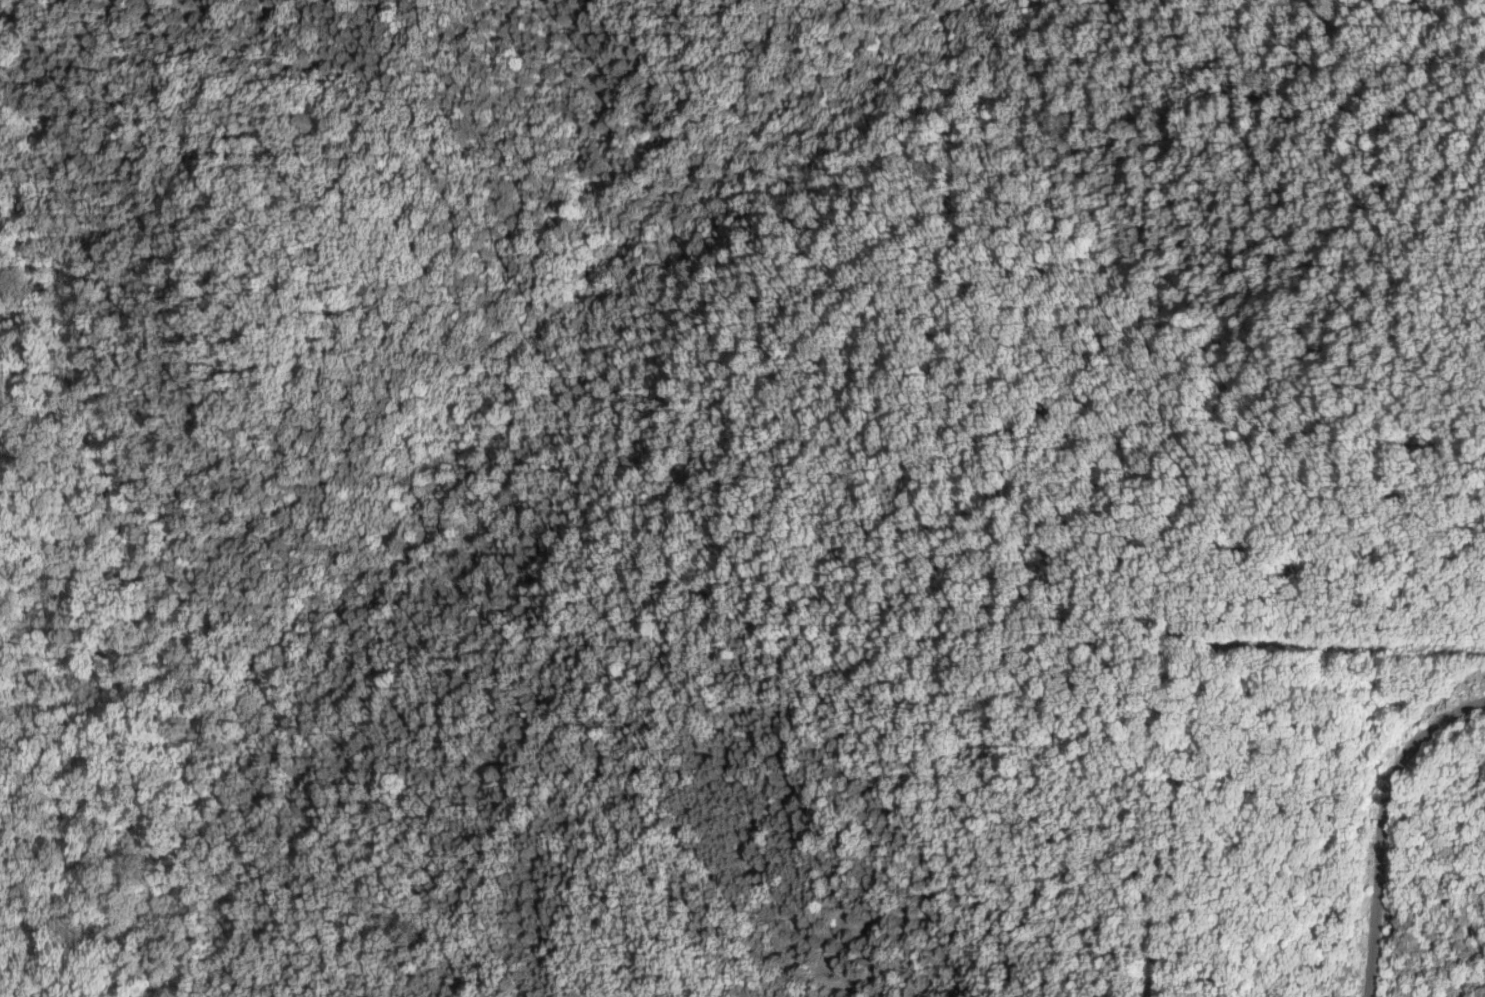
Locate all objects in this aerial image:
road: (1185, 648)
road: (1368, 807)

